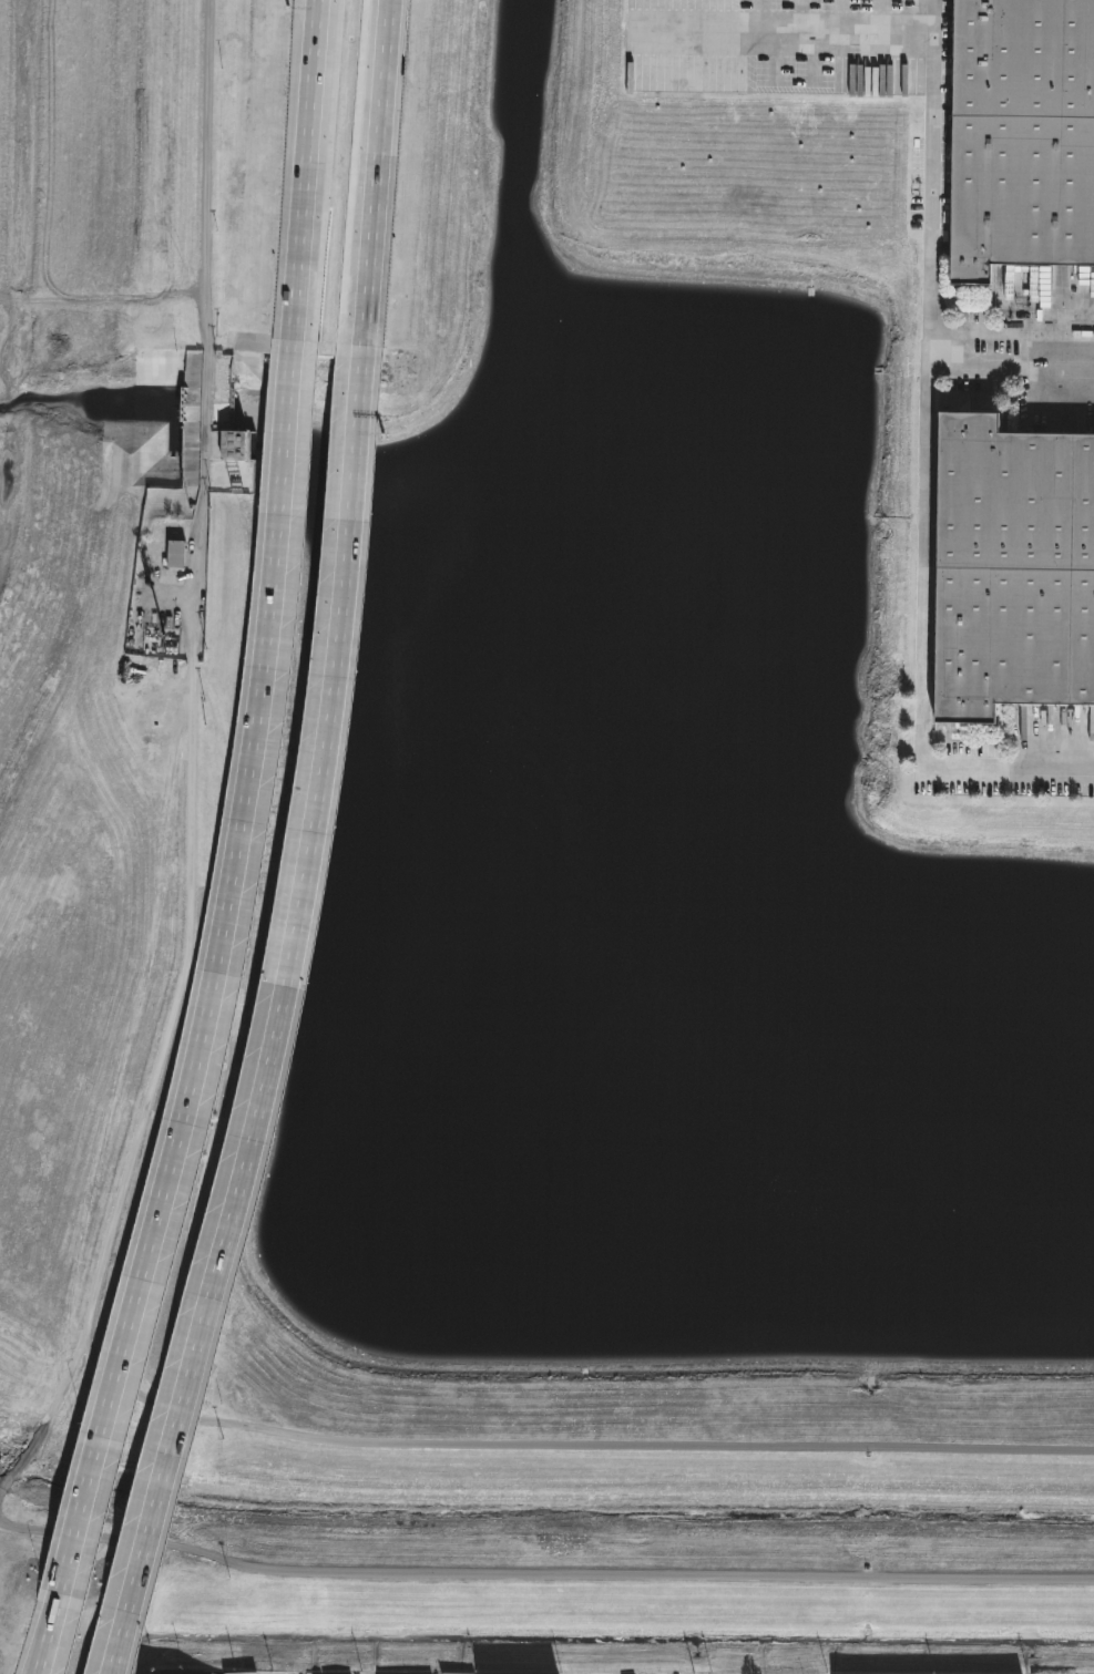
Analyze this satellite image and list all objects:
building: (1024, 136)
road: (303, 176)
road: (375, 178)
road: (205, 189)
road: (1010, 364)
road: (923, 468)
building: (178, 555)
building: (1014, 569)
park: (114, 610)
road: (217, 980)
road: (284, 1024)
road: (49, 1633)

